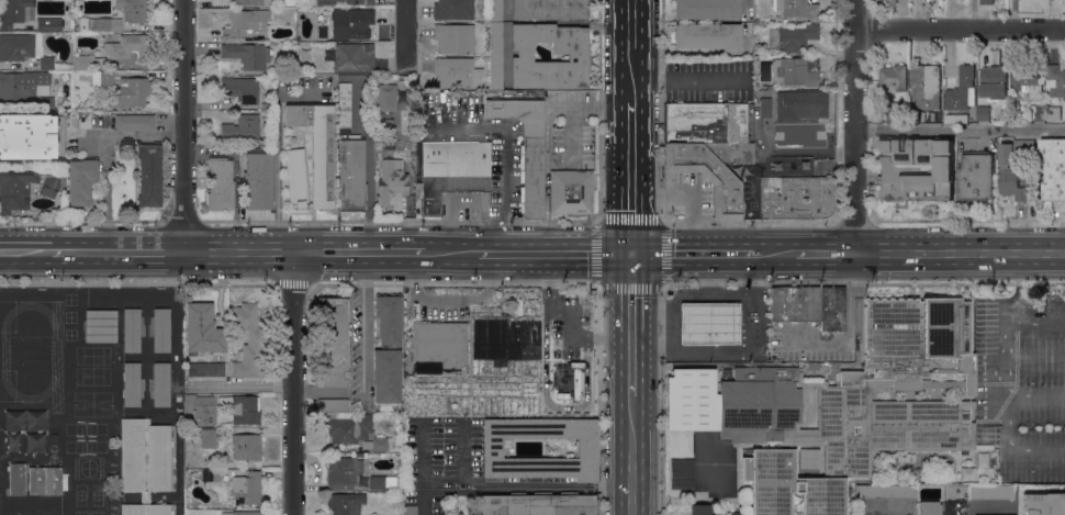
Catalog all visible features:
building: (983, 0)
building: (248, 2)
building: (345, 2)
building: (796, 8)
building: (453, 9)
building: (549, 9)
building: (707, 9)
building: (133, 10)
building: (495, 11)
building: (14, 12)
building: (247, 22)
building: (351, 22)
building: (49, 24)
building: (100, 24)
road: (961, 27)
building: (322, 32)
building: (708, 36)
building: (455, 37)
building: (792, 37)
building: (128, 47)
road: (631, 49)
building: (27, 51)
building: (247, 55)
building: (496, 56)
building: (579, 56)
road: (406, 57)
building: (349, 58)
building: (82, 63)
building: (796, 71)
building: (456, 72)
building: (102, 78)
road: (688, 78)
building: (893, 78)
building: (1028, 80)
building: (1055, 80)
building: (994, 81)
building: (20, 85)
building: (927, 86)
building: (240, 89)
building: (134, 90)
building: (962, 90)
building: (1019, 97)
building: (386, 98)
building: (93, 101)
building: (46, 103)
building: (345, 104)
building: (800, 104)
building: (267, 105)
building: (765, 108)
building: (895, 112)
building: (983, 113)
building: (1036, 113)
building: (1055, 113)
building: (959, 117)
building: (93, 120)
building: (134, 122)
building: (396, 124)
road: (182, 125)
road: (855, 125)
building: (243, 127)
building: (711, 128)
road: (960, 128)
road: (131, 135)
building: (29, 136)
building: (526, 148)
road: (809, 148)
road: (506, 149)
building: (1054, 168)
building: (916, 169)
building: (1014, 169)
building: (451, 171)
building: (351, 172)
building: (149, 175)
building: (976, 175)
building: (322, 176)
road: (631, 176)
building: (707, 176)
building: (81, 181)
building: (258, 181)
building: (391, 181)
building: (53, 183)
building: (220, 183)
building: (16, 188)
building: (571, 191)
road: (107, 193)
building: (796, 197)
road: (852, 220)
road: (966, 220)
road: (596, 221)
road: (749, 221)
road: (554, 251)
traffic signals: (631, 251)
road: (693, 251)
road: (775, 251)
road: (826, 251)
road: (960, 251)
road: (25, 253)
road: (116, 253)
road: (238, 253)
road: (359, 253)
road: (451, 253)
road: (1020, 286)
road: (711, 293)
building: (1032, 301)
road: (672, 306)
building: (809, 306)
road: (570, 315)
road: (651, 317)
building: (389, 318)
road: (1036, 321)
gas station: (709, 322)
road: (631, 323)
building: (709, 323)
road: (851, 323)
building: (101, 325)
road: (363, 325)
building: (203, 329)
building: (132, 331)
building: (161, 331)
building: (249, 342)
building: (332, 342)
building: (439, 343)
road: (742, 352)
building: (822, 366)
building: (205, 368)
building: (727, 373)
building: (386, 376)
road: (292, 383)
building: (132, 384)
building: (161, 384)
road: (1008, 389)
building: (190, 404)
building: (842, 406)
building: (233, 407)
building: (381, 408)
building: (350, 425)
building: (190, 433)
building: (54, 436)
building: (208, 437)
building: (246, 447)
building: (587, 448)
road: (462, 451)
road: (1010, 452)
road: (632, 455)
building: (144, 456)
building: (998, 466)
building: (343, 472)
building: (680, 473)
building: (211, 474)
building: (16, 478)
building: (45, 480)
road: (502, 481)
building: (383, 482)
building: (248, 490)
road: (537, 490)
building: (885, 491)
building: (990, 492)
building: (145, 497)
road: (425, 497)
building: (345, 503)
building: (539, 504)
building: (1044, 504)
building: (929, 507)
building: (145, 508)
building: (410, 510)
building: (700, 510)
building: (242, 513)
building: (738, 513)

